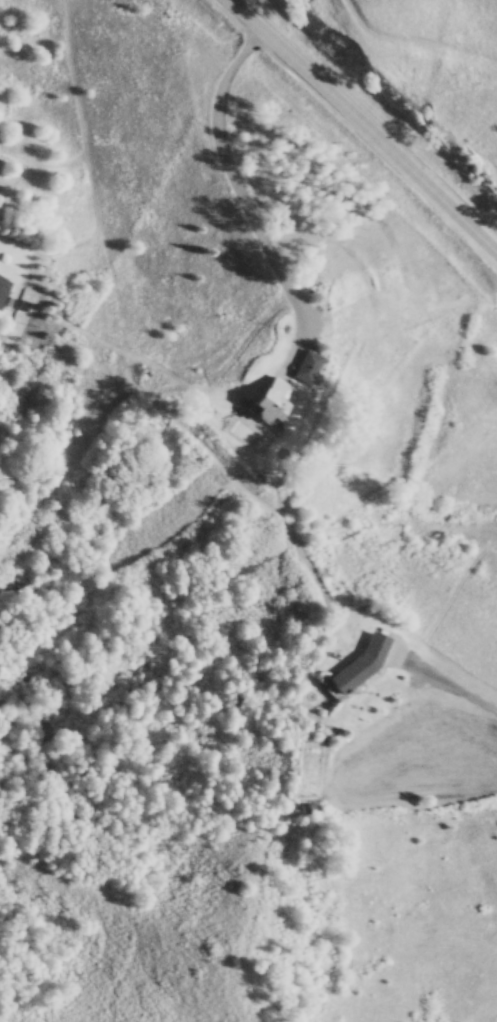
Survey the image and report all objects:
road: (353, 133)
road: (236, 188)
building: (0, 277)
building: (295, 364)
building: (257, 393)
road: (446, 683)

